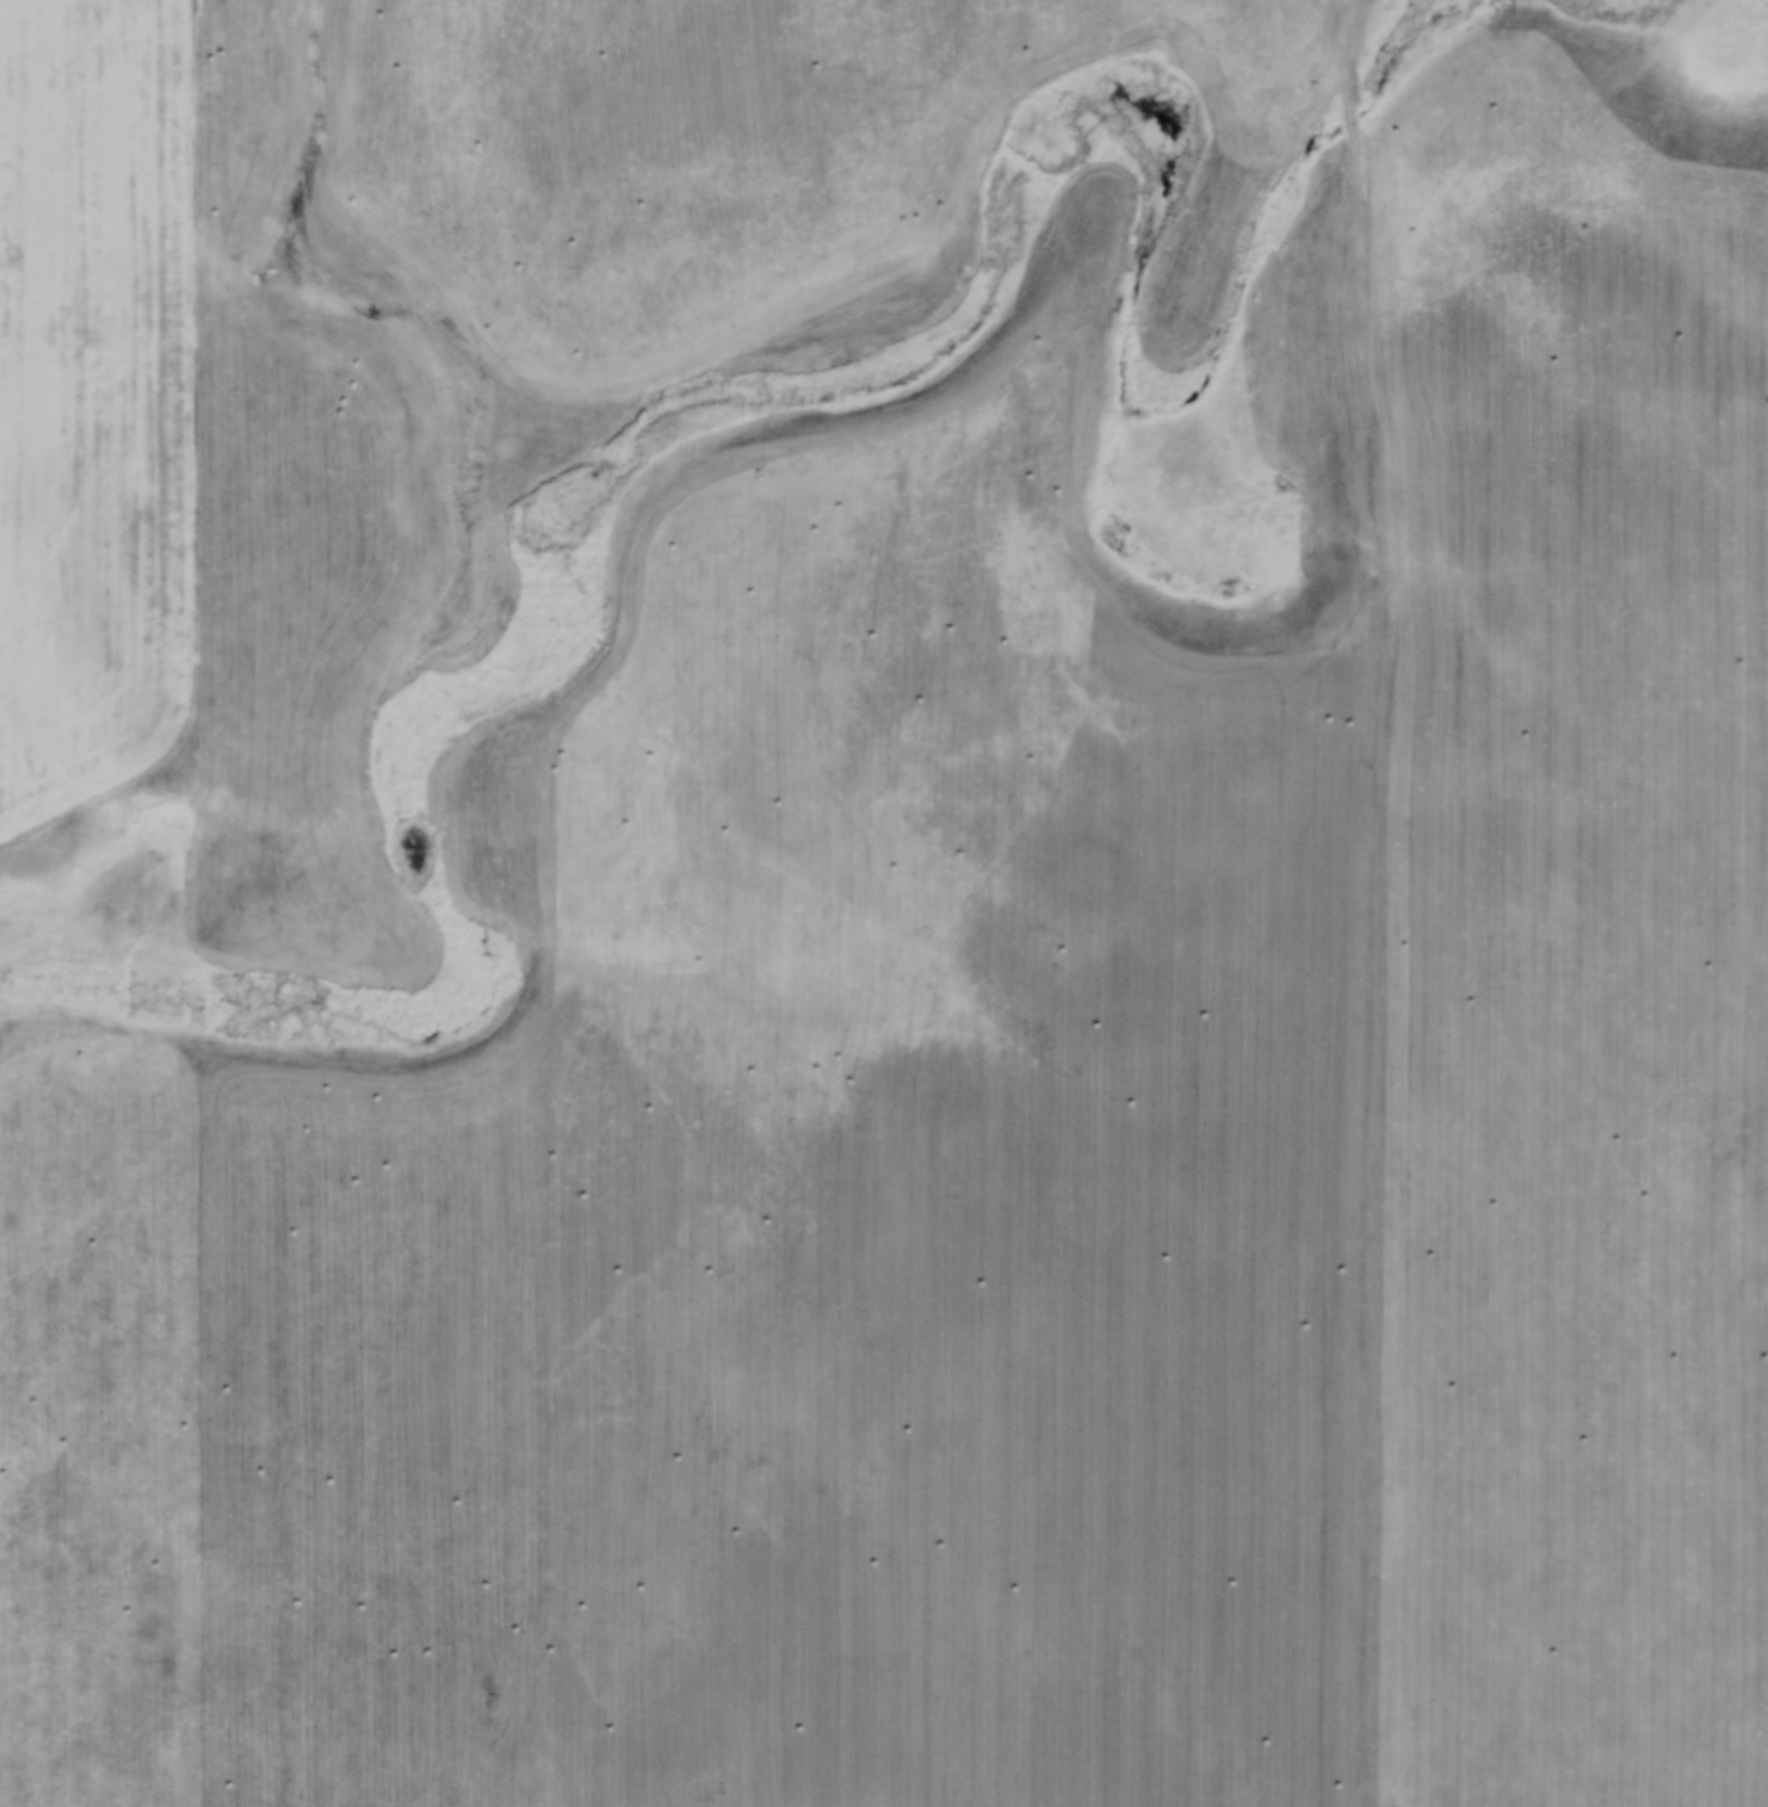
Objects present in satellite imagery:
road: (1387, 901)

